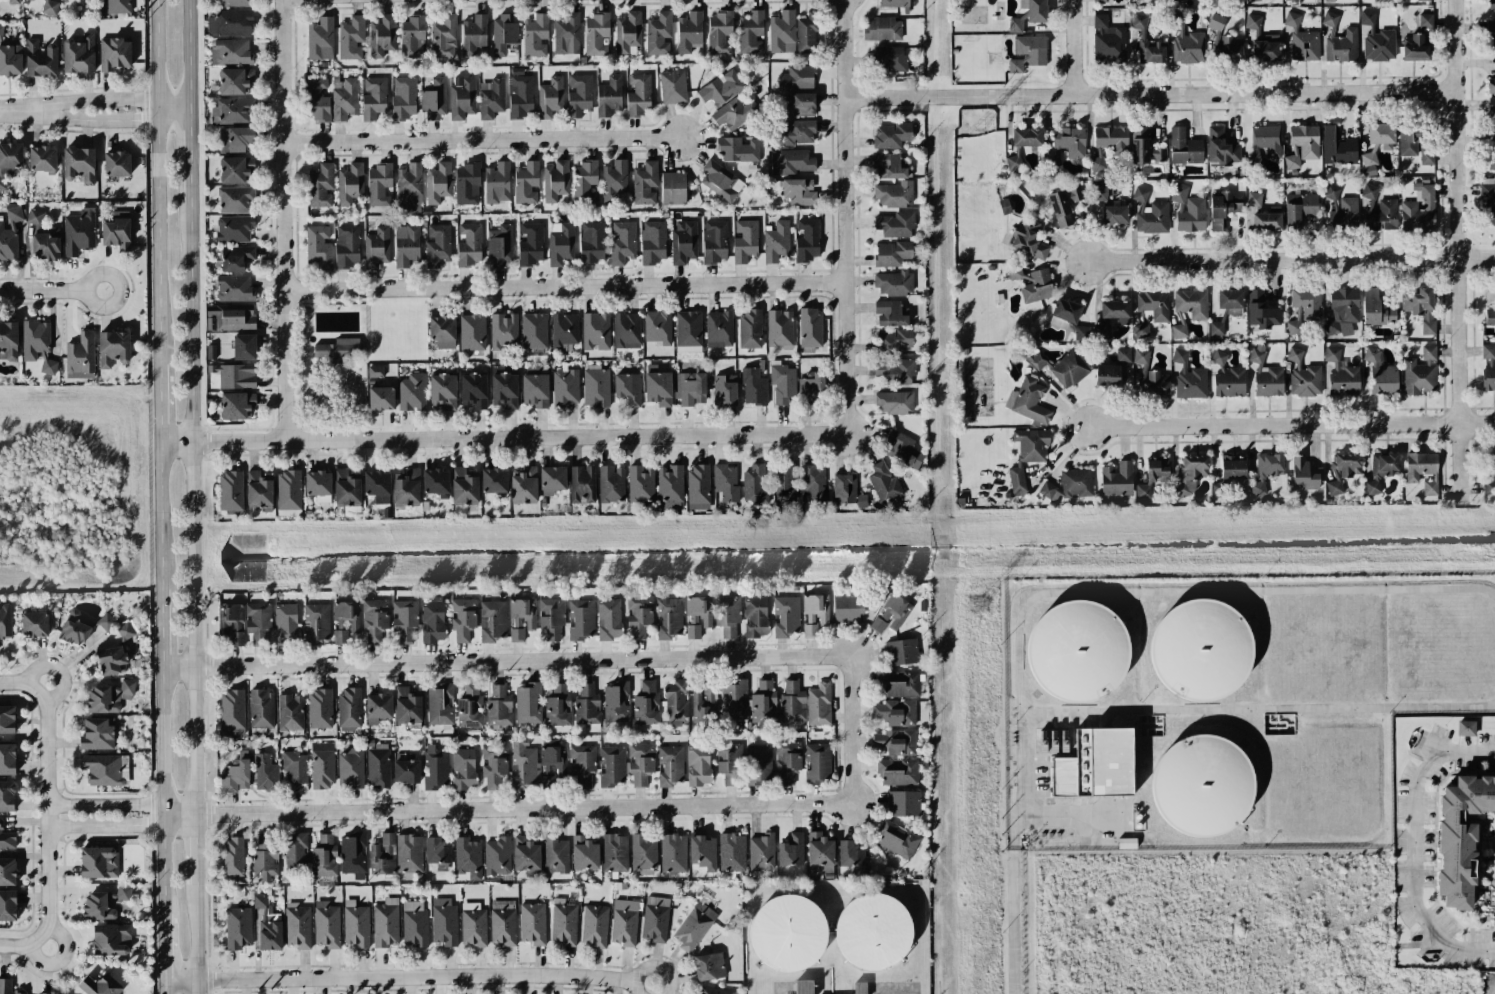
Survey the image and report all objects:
building: (1099, 0)
building: (1174, 0)
building: (1423, 0)
building: (1252, 1)
building: (13, 2)
building: (231, 3)
building: (894, 3)
building: (1491, 4)
building: (118, 6)
building: (49, 7)
building: (1036, 11)
building: (1425, 20)
building: (1216, 21)
building: (1330, 21)
building: (1254, 22)
building: (230, 23)
building: (1015, 24)
building: (882, 29)
building: (1, 30)
building: (1491, 30)
building: (627, 32)
building: (689, 32)
building: (719, 32)
building: (751, 32)
building: (782, 32)
building: (503, 33)
building: (658, 33)
building: (473, 34)
building: (566, 34)
building: (596, 34)
building: (806, 35)
building: (381, 36)
building: (443, 36)
building: (535, 36)
building: (412, 37)
building: (351, 38)
building: (1107, 38)
building: (320, 39)
building: (1301, 40)
building: (1376, 40)
building: (1147, 43)
building: (1185, 43)
building: (1341, 46)
road: (1076, 47)
building: (1414, 47)
building: (1229, 48)
building: (1266, 48)
building: (230, 52)
building: (1027, 53)
building: (79, 54)
building: (114, 54)
building: (890, 58)
building: (10, 59)
building: (40, 59)
road: (188, 60)
building: (796, 78)
building: (235, 81)
building: (1491, 85)
building: (672, 86)
building: (721, 88)
road: (1151, 94)
building: (579, 95)
building: (638, 95)
building: (520, 96)
building: (609, 96)
building: (461, 97)
building: (550, 97)
building: (373, 98)
building: (403, 98)
building: (491, 98)
building: (316, 99)
building: (434, 99)
building: (344, 100)
road: (97, 101)
building: (799, 104)
building: (1491, 106)
road: (3, 111)
building: (231, 111)
building: (730, 114)
road: (97, 120)
power tower: (976, 132)
building: (798, 133)
building: (1380, 133)
building: (891, 135)
building: (1026, 137)
road: (482, 138)
building: (235, 139)
building: (1112, 139)
building: (1267, 139)
building: (1070, 141)
building: (1407, 142)
building: (1302, 145)
building: (1145, 147)
building: (1184, 147)
building: (1221, 147)
building: (1337, 147)
building: (738, 149)
building: (1426, 154)
building: (42, 158)
road: (189, 160)
building: (10, 161)
building: (792, 162)
building: (1013, 162)
building: (1491, 162)
building: (1367, 163)
building: (79, 164)
building: (116, 164)
building: (1254, 164)
building: (890, 166)
building: (236, 169)
building: (614, 179)
building: (718, 180)
building: (555, 181)
building: (584, 181)
road: (157, 182)
building: (438, 182)
building: (349, 183)
building: (497, 183)
building: (526, 183)
building: (645, 183)
building: (378, 184)
building: (467, 184)
building: (320, 185)
building: (673, 188)
building: (409, 189)
building: (799, 191)
building: (1099, 193)
building: (1369, 193)
building: (894, 194)
building: (236, 199)
building: (1253, 199)
building: (1488, 200)
building: (1064, 204)
building: (1299, 208)
building: (1419, 208)
building: (1188, 209)
building: (1222, 209)
building: (1340, 209)
building: (1150, 213)
building: (1114, 214)
building: (1382, 216)
road: (846, 217)
building: (35, 219)
road: (288, 219)
building: (1266, 221)
building: (234, 228)
building: (78, 232)
building: (116, 233)
building: (1027, 239)
building: (714, 240)
building: (745, 240)
building: (807, 240)
building: (776, 241)
building: (591, 242)
building: (622, 242)
building: (653, 242)
building: (683, 242)
building: (7, 243)
building: (560, 243)
building: (46, 244)
building: (530, 244)
building: (437, 245)
building: (469, 245)
building: (500, 245)
building: (318, 246)
building: (347, 246)
building: (406, 246)
building: (376, 247)
road: (1457, 252)
building: (892, 253)
building: (236, 257)
road: (1291, 263)
building: (894, 283)
building: (1030, 283)
road: (568, 286)
building: (233, 288)
road: (51, 291)
building: (1191, 303)
building: (1153, 306)
building: (1420, 306)
building: (1303, 309)
building: (1342, 309)
building: (1375, 309)
building: (1115, 311)
building: (1261, 311)
building: (890, 313)
building: (1064, 313)
building: (1490, 317)
building: (229, 319)
building: (657, 327)
building: (779, 327)
building: (809, 328)
building: (718, 329)
building: (750, 329)
building: (534, 330)
building: (626, 330)
building: (688, 330)
building: (1140, 330)
building: (1216, 330)
building: (442, 331)
building: (503, 331)
building: (564, 331)
building: (595, 331)
building: (1102, 331)
building: (1179, 331)
building: (471, 332)
building: (8, 340)
building: (893, 341)
building: (37, 345)
building: (244, 346)
building: (113, 348)
building: (336, 350)
building: (1123, 354)
building: (80, 356)
building: (1141, 356)
building: (1061, 367)
building: (1488, 367)
building: (655, 368)
building: (895, 371)
building: (1420, 372)
building: (1107, 373)
building: (1381, 373)
building: (1265, 374)
building: (1342, 374)
building: (236, 376)
building: (1303, 376)
building: (1188, 377)
building: (1227, 377)
building: (811, 383)
building: (1155, 383)
building: (782, 384)
building: (503, 386)
building: (565, 387)
building: (753, 387)
building: (535, 388)
building: (627, 388)
building: (658, 388)
building: (689, 388)
building: (473, 390)
building: (724, 390)
building: (443, 391)
building: (412, 392)
building: (381, 398)
building: (1027, 401)
building: (894, 402)
road: (159, 405)
building: (237, 405)
road: (1293, 425)
road: (503, 438)
building: (1031, 444)
building: (904, 449)
building: (1346, 465)
building: (1420, 466)
building: (1233, 467)
building: (1157, 470)
building: (1381, 470)
building: (1266, 471)
building: (1190, 473)
building: (1304, 474)
building: (1489, 474)
building: (1116, 478)
building: (1016, 479)
building: (494, 480)
building: (551, 480)
building: (435, 481)
building: (814, 481)
building: (726, 482)
building: (317, 483)
building: (784, 483)
building: (884, 483)
building: (1070, 483)
building: (582, 484)
building: (611, 484)
building: (640, 484)
building: (755, 484)
building: (523, 485)
building: (377, 486)
building: (464, 486)
building: (698, 486)
building: (670, 487)
building: (1334, 487)
building: (1430, 487)
building: (346, 488)
building: (406, 488)
building: (258, 489)
building: (230, 490)
building: (847, 490)
building: (1141, 490)
building: (288, 491)
road: (193, 506)
road: (160, 516)
road: (1135, 592)
power tower: (977, 604)
building: (848, 608)
building: (814, 613)
building: (891, 613)
building: (727, 614)
building: (638, 615)
building: (697, 615)
building: (755, 616)
building: (785, 616)
building: (551, 617)
building: (463, 618)
building: (521, 618)
building: (668, 618)
building: (5, 619)
building: (374, 619)
building: (404, 619)
building: (432, 619)
building: (580, 619)
building: (608, 619)
building: (345, 620)
building: (492, 620)
building: (105, 622)
building: (231, 622)
building: (257, 622)
building: (316, 623)
building: (34, 624)
building: (285, 624)
road: (161, 627)
building: (75, 628)
building: (128, 628)
building: (1196, 648)
building: (901, 651)
building: (1077, 651)
building: (112, 661)
road: (505, 662)
road: (23, 680)
building: (900, 683)
building: (109, 696)
building: (704, 698)
building: (676, 700)
building: (733, 700)
building: (616, 702)
building: (763, 702)
building: (792, 702)
building: (645, 703)
building: (440, 704)
building: (528, 704)
building: (819, 704)
building: (407, 705)
building: (586, 705)
building: (470, 706)
building: (498, 706)
building: (558, 706)
building: (378, 707)
building: (261, 708)
building: (319, 708)
building: (349, 708)
road: (1257, 710)
building: (232, 712)
building: (290, 712)
building: (895, 712)
building: (7, 719)
building: (1465, 728)
road: (851, 731)
building: (97, 734)
road: (161, 736)
building: (896, 742)
building: (7, 759)
building: (552, 760)
building: (787, 761)
building: (728, 762)
building: (640, 763)
building: (817, 763)
building: (523, 764)
building: (582, 764)
building: (759, 764)
building: (1095, 764)
building: (698, 765)
building: (378, 766)
building: (611, 766)
building: (670, 766)
building: (322, 767)
building: (463, 768)
building: (295, 769)
building: (350, 769)
building: (436, 769)
building: (406, 771)
building: (897, 771)
building: (264, 772)
building: (493, 772)
building: (236, 773)
building: (6, 796)
building: (903, 803)
road: (105, 804)
road: (179, 810)
road: (524, 810)
road: (48, 812)
road: (163, 817)
road: (180, 822)
road: (106, 829)
building: (1460, 836)
building: (7, 839)
building: (897, 839)
road: (1414, 847)
road: (196, 849)
building: (820, 849)
building: (791, 850)
building: (436, 851)
building: (643, 851)
building: (702, 852)
building: (731, 852)
building: (761, 852)
building: (408, 853)
building: (584, 853)
building: (614, 853)
building: (673, 853)
building: (295, 854)
building: (353, 854)
building: (383, 855)
building: (526, 855)
building: (851, 855)
building: (496, 856)
building: (555, 856)
building: (232, 857)
building: (324, 857)
building: (265, 858)
building: (467, 859)
building: (98, 862)
building: (7, 871)
road: (164, 871)
building: (104, 903)
building: (7, 905)
building: (655, 918)
building: (444, 922)
building: (564, 922)
building: (624, 922)
road: (1013, 922)
building: (385, 923)
building: (532, 923)
building: (326, 924)
building: (355, 924)
building: (414, 924)
building: (267, 925)
building: (473, 925)
building: (297, 926)
building: (594, 926)
building: (694, 926)
building: (238, 928)
building: (872, 931)
building: (788, 933)
building: (111, 939)
road: (196, 939)
road: (23, 945)
road: (165, 947)
building: (708, 966)
road: (409, 978)
road: (1492, 982)
building: (100, 985)
building: (803, 986)
building: (7, 987)
building: (859, 987)
road: (165, 988)
road: (1489, 988)
building: (712, 991)
building: (49, 993)

